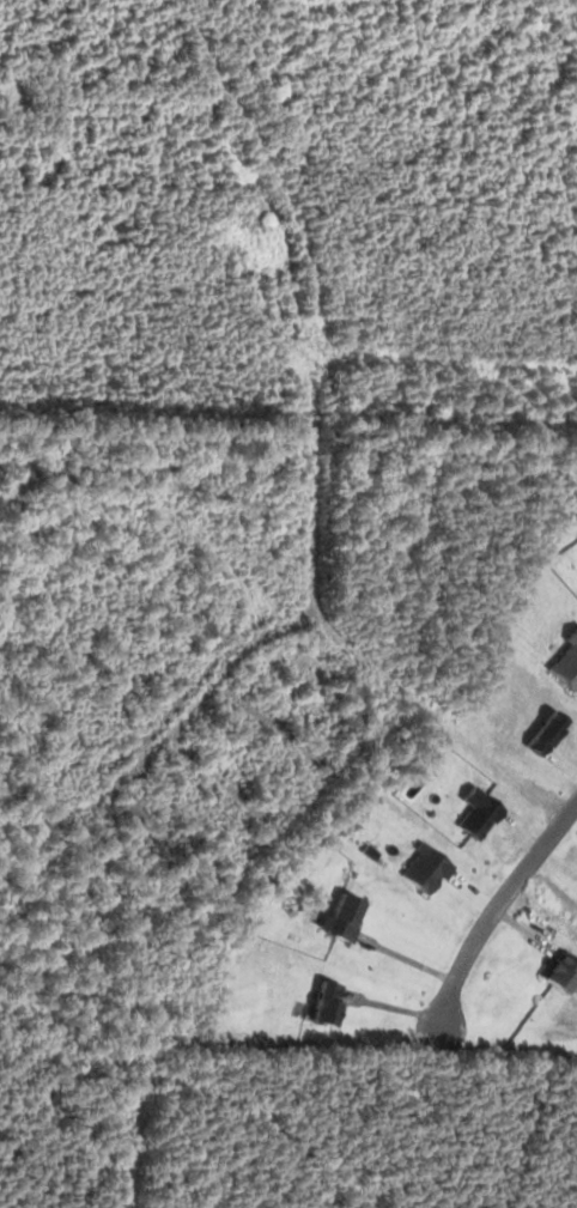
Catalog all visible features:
road: (564, 766)
road: (521, 839)
road: (476, 892)
road: (496, 910)
building: (341, 915)
road: (411, 960)
building: (558, 971)
building: (323, 1002)
road: (396, 1009)

